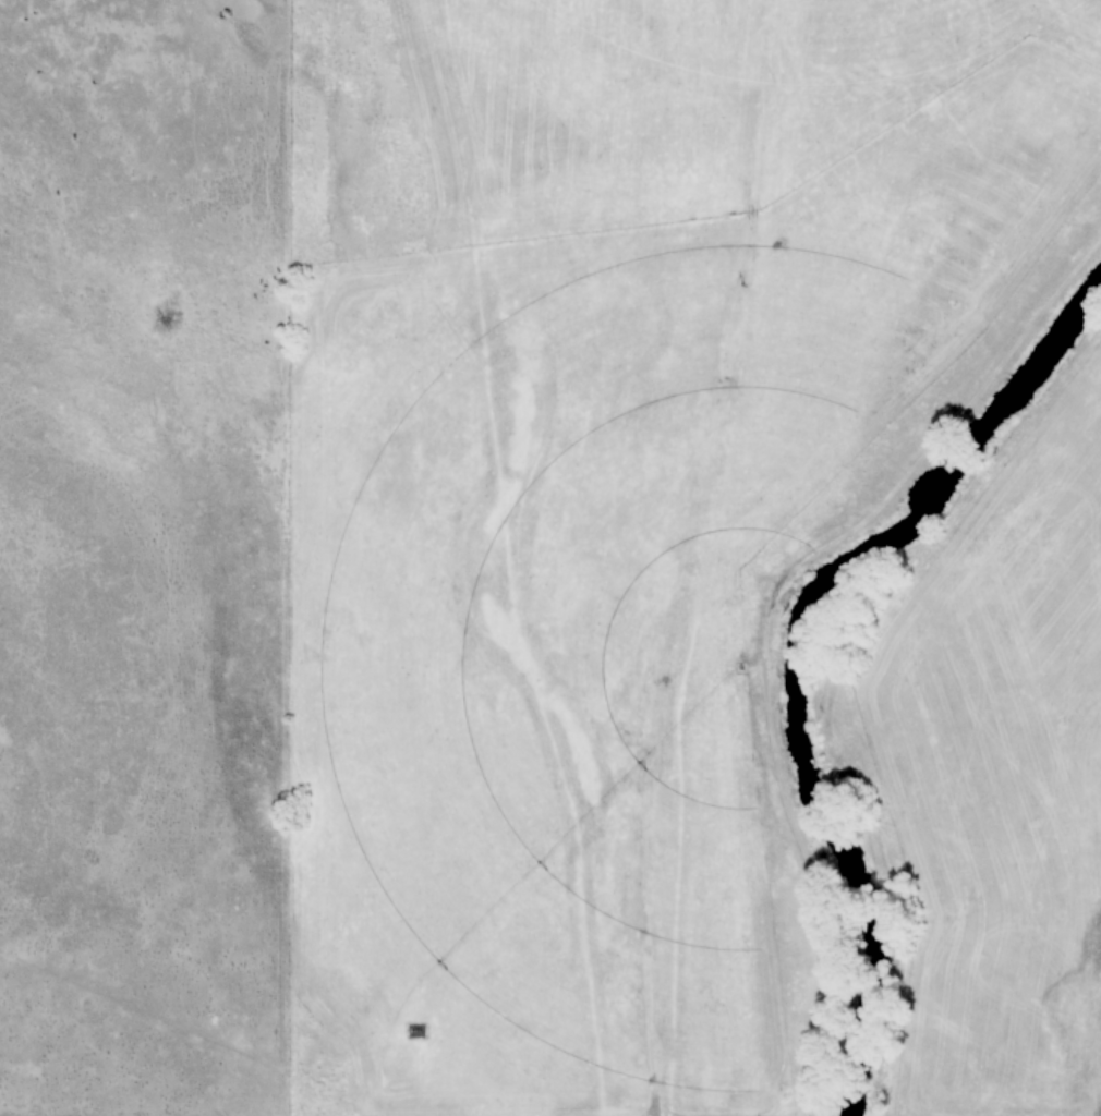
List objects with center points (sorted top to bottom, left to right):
river: (801, 648)

